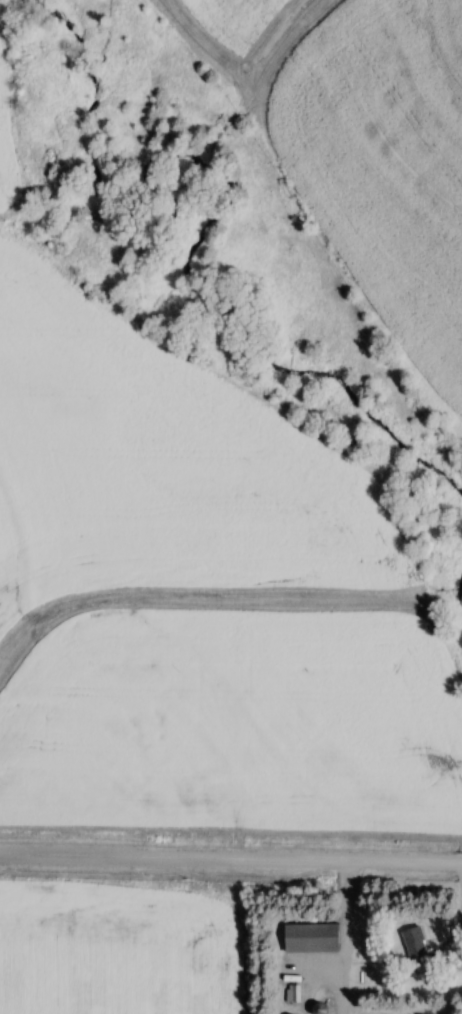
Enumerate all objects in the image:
road: (231, 857)
building: (310, 937)
building: (414, 944)

